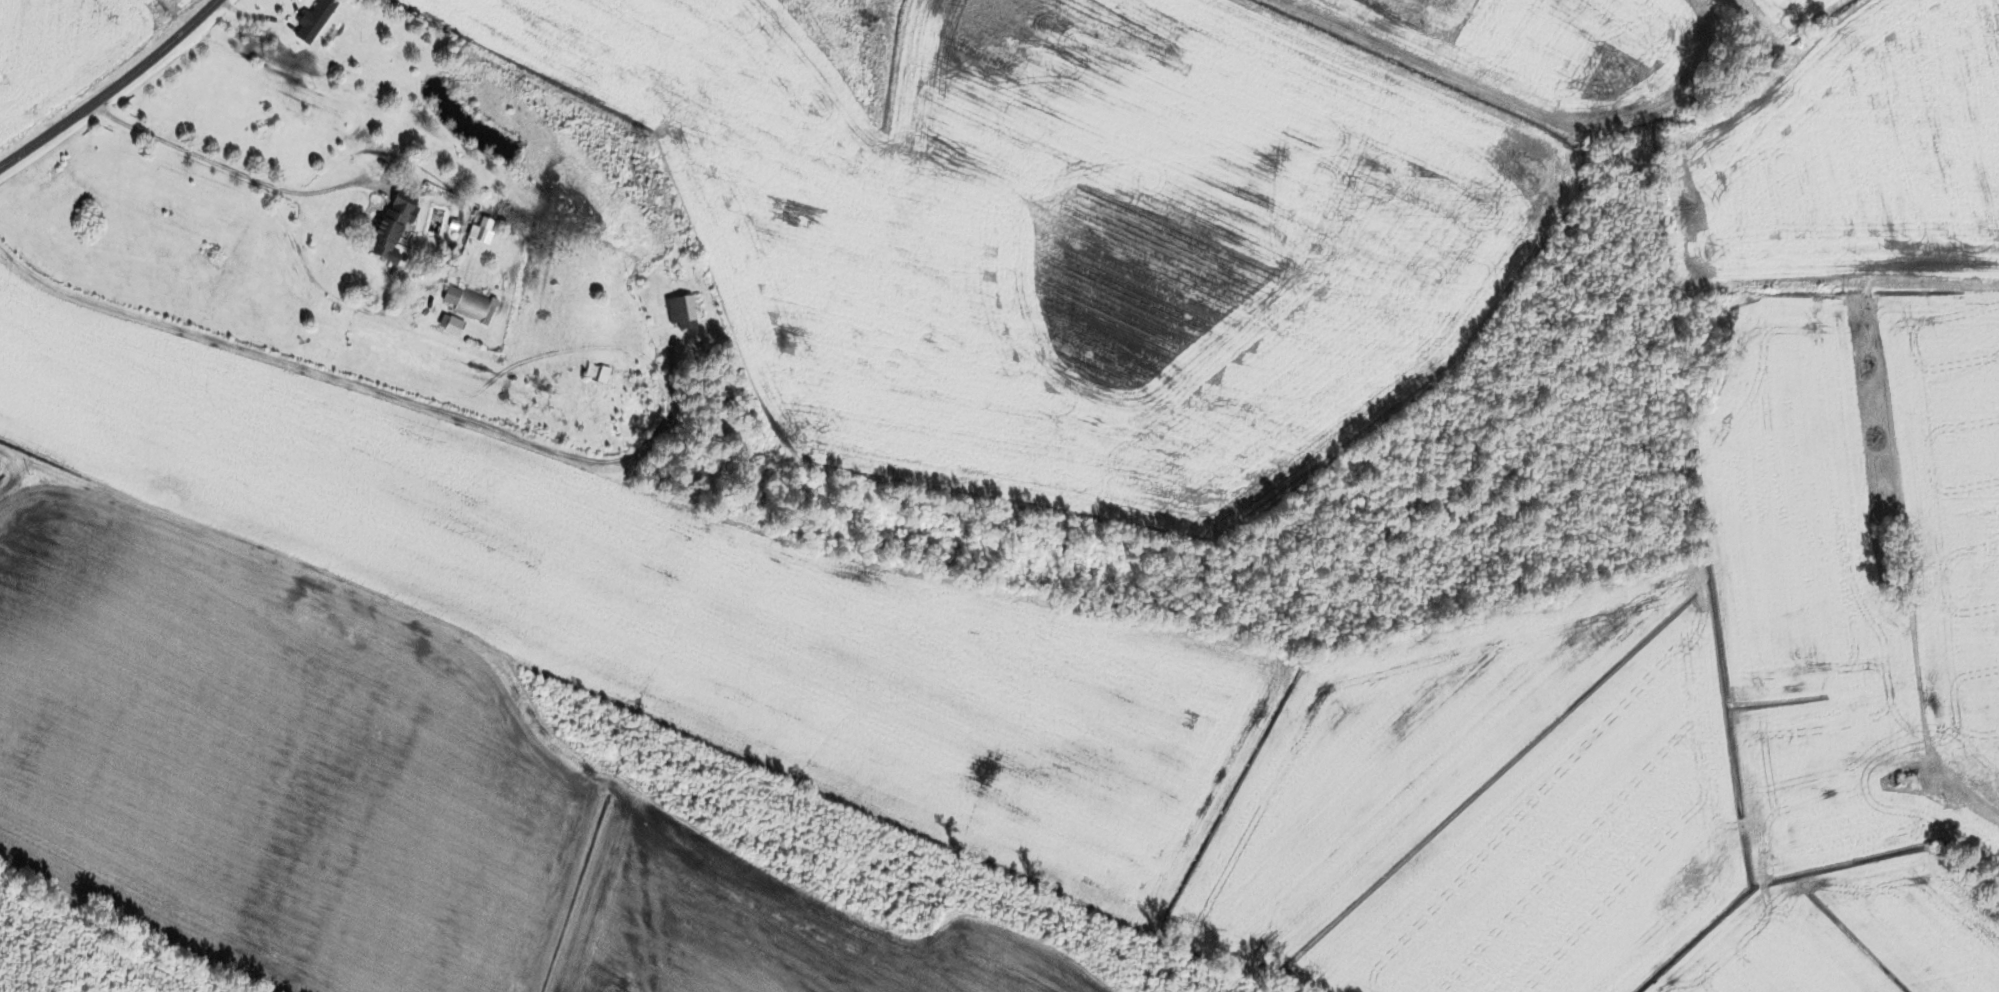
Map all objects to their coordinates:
road: (262, 18)
building: (313, 20)
road: (112, 88)
road: (222, 166)
building: (390, 228)
building: (481, 230)
building: (469, 304)
building: (681, 313)
building: (450, 325)
road: (312, 374)
building: (602, 376)
road: (89, 487)
building: (1905, 781)

